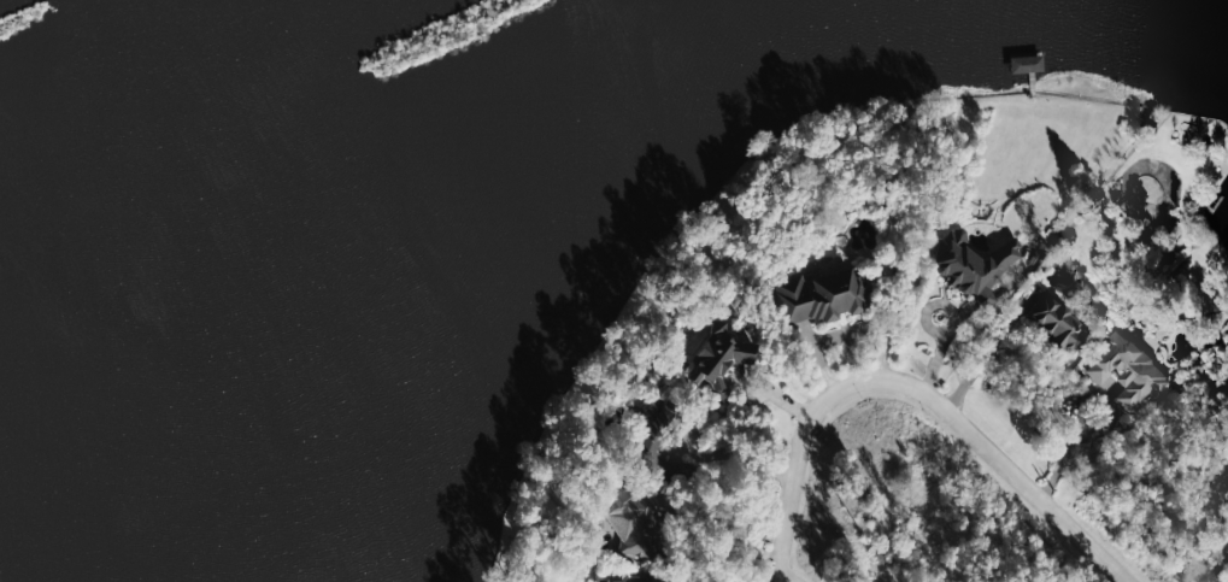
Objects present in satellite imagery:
building: (1029, 63)
building: (974, 266)
building: (1059, 323)
road: (988, 353)
building: (724, 354)
building: (1130, 371)
road: (915, 388)
road: (1073, 436)
road: (728, 474)
building: (631, 518)
road: (729, 529)
road: (786, 578)

